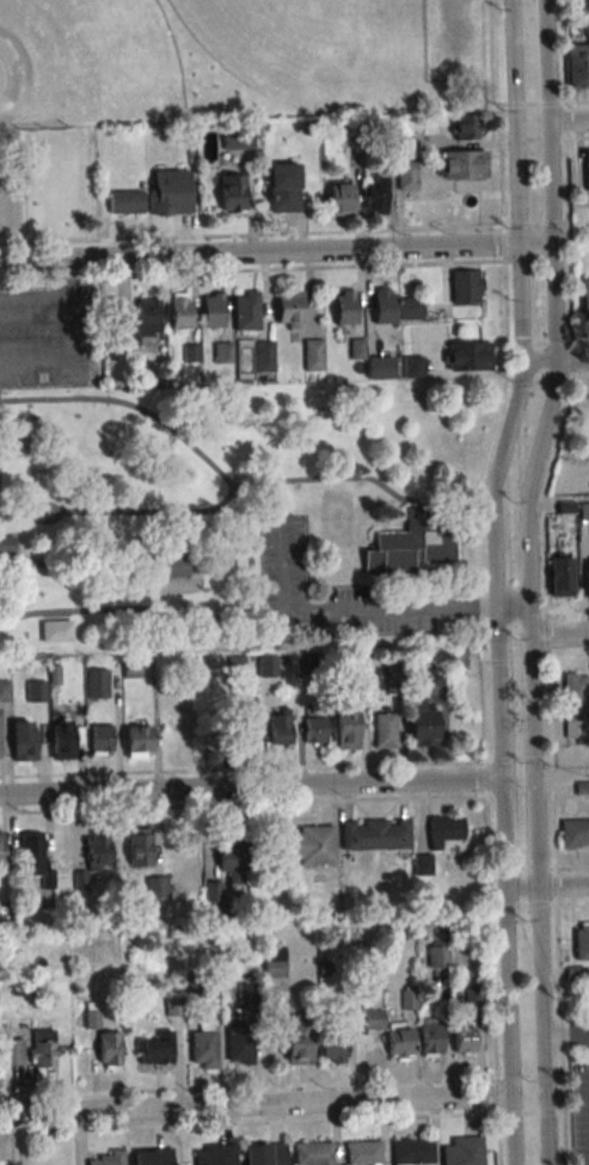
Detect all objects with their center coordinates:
parking lot: (453, 30)
park: (300, 49)
park: (86, 56)
road: (510, 62)
building: (577, 65)
road: (576, 102)
road: (529, 103)
road: (567, 118)
road: (548, 119)
building: (465, 127)
building: (309, 128)
building: (348, 131)
road: (577, 137)
building: (238, 139)
building: (406, 143)
building: (462, 164)
building: (587, 168)
building: (406, 176)
road: (515, 183)
building: (283, 188)
building: (232, 191)
building: (168, 194)
building: (374, 195)
building: (340, 198)
building: (125, 202)
parking lot: (12, 204)
road: (534, 241)
park: (49, 250)
road: (257, 251)
building: (465, 284)
building: (584, 298)
road: (554, 301)
road: (519, 303)
building: (382, 306)
building: (344, 307)
road: (33, 308)
building: (289, 308)
building: (411, 308)
building: (179, 311)
building: (213, 311)
building: (246, 311)
building: (140, 321)
parking lot: (49, 332)
road: (579, 341)
road: (67, 343)
building: (356, 348)
building: (222, 351)
building: (191, 352)
building: (313, 354)
building: (264, 355)
building: (468, 356)
road: (554, 362)
building: (381, 367)
building: (412, 367)
road: (579, 376)
road: (130, 405)
park: (29, 422)
road: (492, 482)
road: (528, 495)
building: (564, 507)
road: (450, 510)
building: (584, 510)
road: (122, 513)
park: (337, 517)
building: (410, 544)
building: (10, 545)
road: (460, 545)
road: (250, 546)
building: (168, 565)
road: (461, 568)
building: (559, 576)
building: (587, 577)
road: (479, 580)
road: (544, 581)
road: (162, 593)
parking lot: (336, 594)
road: (449, 596)
road: (404, 597)
road: (513, 602)
road: (348, 608)
road: (566, 611)
road: (45, 617)
building: (56, 631)
road: (560, 631)
road: (567, 660)
road: (515, 661)
building: (301, 662)
building: (266, 664)
building: (237, 666)
building: (131, 668)
building: (53, 674)
building: (394, 674)
building: (435, 676)
building: (98, 682)
building: (5, 691)
building: (36, 691)
building: (575, 705)
building: (345, 725)
building: (421, 728)
building: (314, 729)
building: (280, 730)
building: (384, 730)
building: (245, 735)
building: (100, 737)
building: (62, 738)
building: (22, 740)
building: (136, 740)
road: (498, 744)
road: (535, 758)
road: (517, 760)
road: (243, 768)
road: (250, 784)
building: (582, 787)
road: (243, 803)
building: (444, 829)
building: (375, 834)
building: (573, 834)
building: (308, 845)
building: (139, 846)
building: (97, 850)
building: (1, 856)
building: (33, 859)
building: (234, 860)
building: (423, 865)
road: (571, 867)
building: (79, 879)
road: (546, 884)
building: (157, 887)
building: (213, 894)
road: (572, 902)
road: (522, 905)
building: (582, 940)
building: (438, 956)
building: (275, 961)
building: (576, 973)
road: (508, 989)
building: (249, 992)
building: (474, 997)
building: (92, 1014)
building: (373, 1018)
road: (542, 1024)
road: (566, 1035)
building: (464, 1038)
building: (431, 1040)
building: (239, 1041)
building: (399, 1042)
building: (299, 1043)
building: (333, 1044)
building: (203, 1049)
building: (109, 1050)
building: (13, 1051)
building: (43, 1051)
building: (154, 1051)
road: (246, 1087)
road: (254, 1102)
road: (529, 1112)
road: (241, 1123)
road: (511, 1128)
road: (2, 1134)
building: (464, 1151)
building: (362, 1152)
building: (412, 1152)
building: (312, 1153)
building: (215, 1154)
building: (264, 1154)
building: (153, 1157)
building: (108, 1159)

